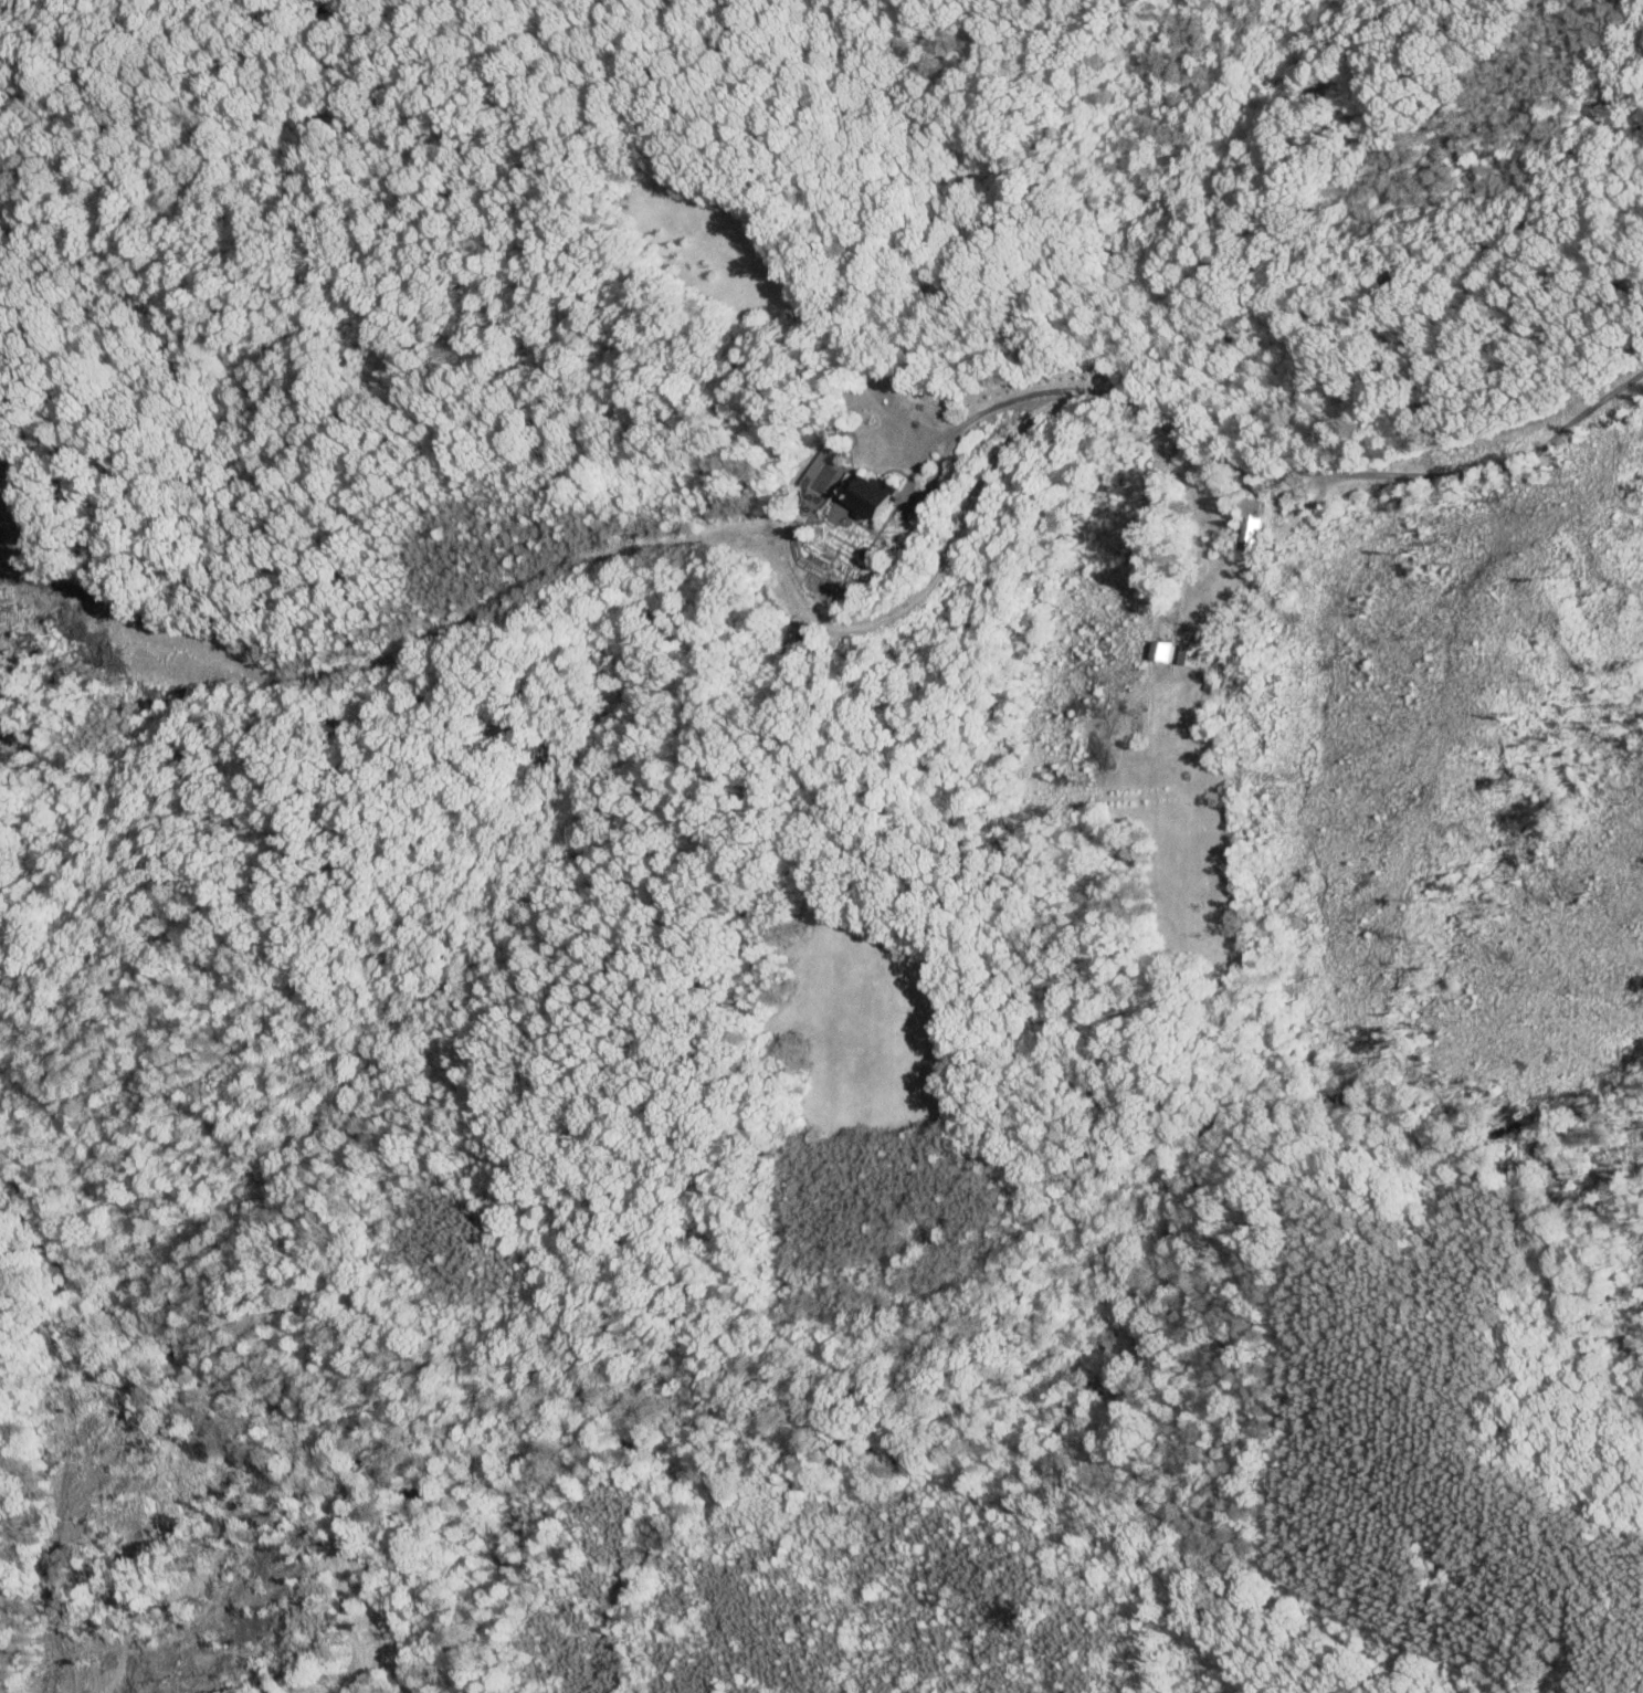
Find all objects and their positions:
road: (1189, 401)
building: (864, 494)
building: (839, 512)
building: (1247, 517)
building: (1156, 650)
building: (1184, 654)

